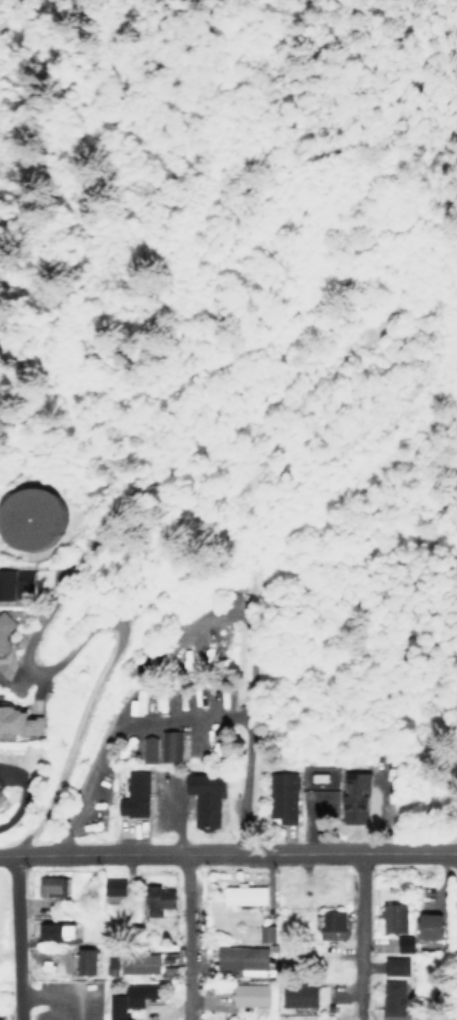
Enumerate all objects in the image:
road: (438, 85)
building: (27, 515)
road: (84, 568)
building: (15, 582)
road: (208, 618)
building: (3, 640)
road: (112, 659)
building: (135, 703)
building: (19, 719)
road: (112, 732)
road: (245, 738)
building: (162, 746)
building: (283, 794)
building: (133, 795)
building: (2, 796)
building: (353, 796)
building: (205, 797)
road: (228, 855)
building: (54, 886)
building: (112, 886)
building: (245, 894)
building: (156, 899)
building: (394, 917)
building: (332, 922)
building: (432, 925)
building: (58, 930)
road: (358, 937)
road: (17, 938)
road: (185, 938)
building: (403, 942)
building: (240, 957)
building: (87, 960)
building: (138, 961)
building: (109, 964)
building: (392, 987)
road: (60, 992)
building: (250, 993)
building: (299, 995)
building: (126, 1002)
road: (51, 1006)
building: (1, 1017)
building: (323, 1017)

